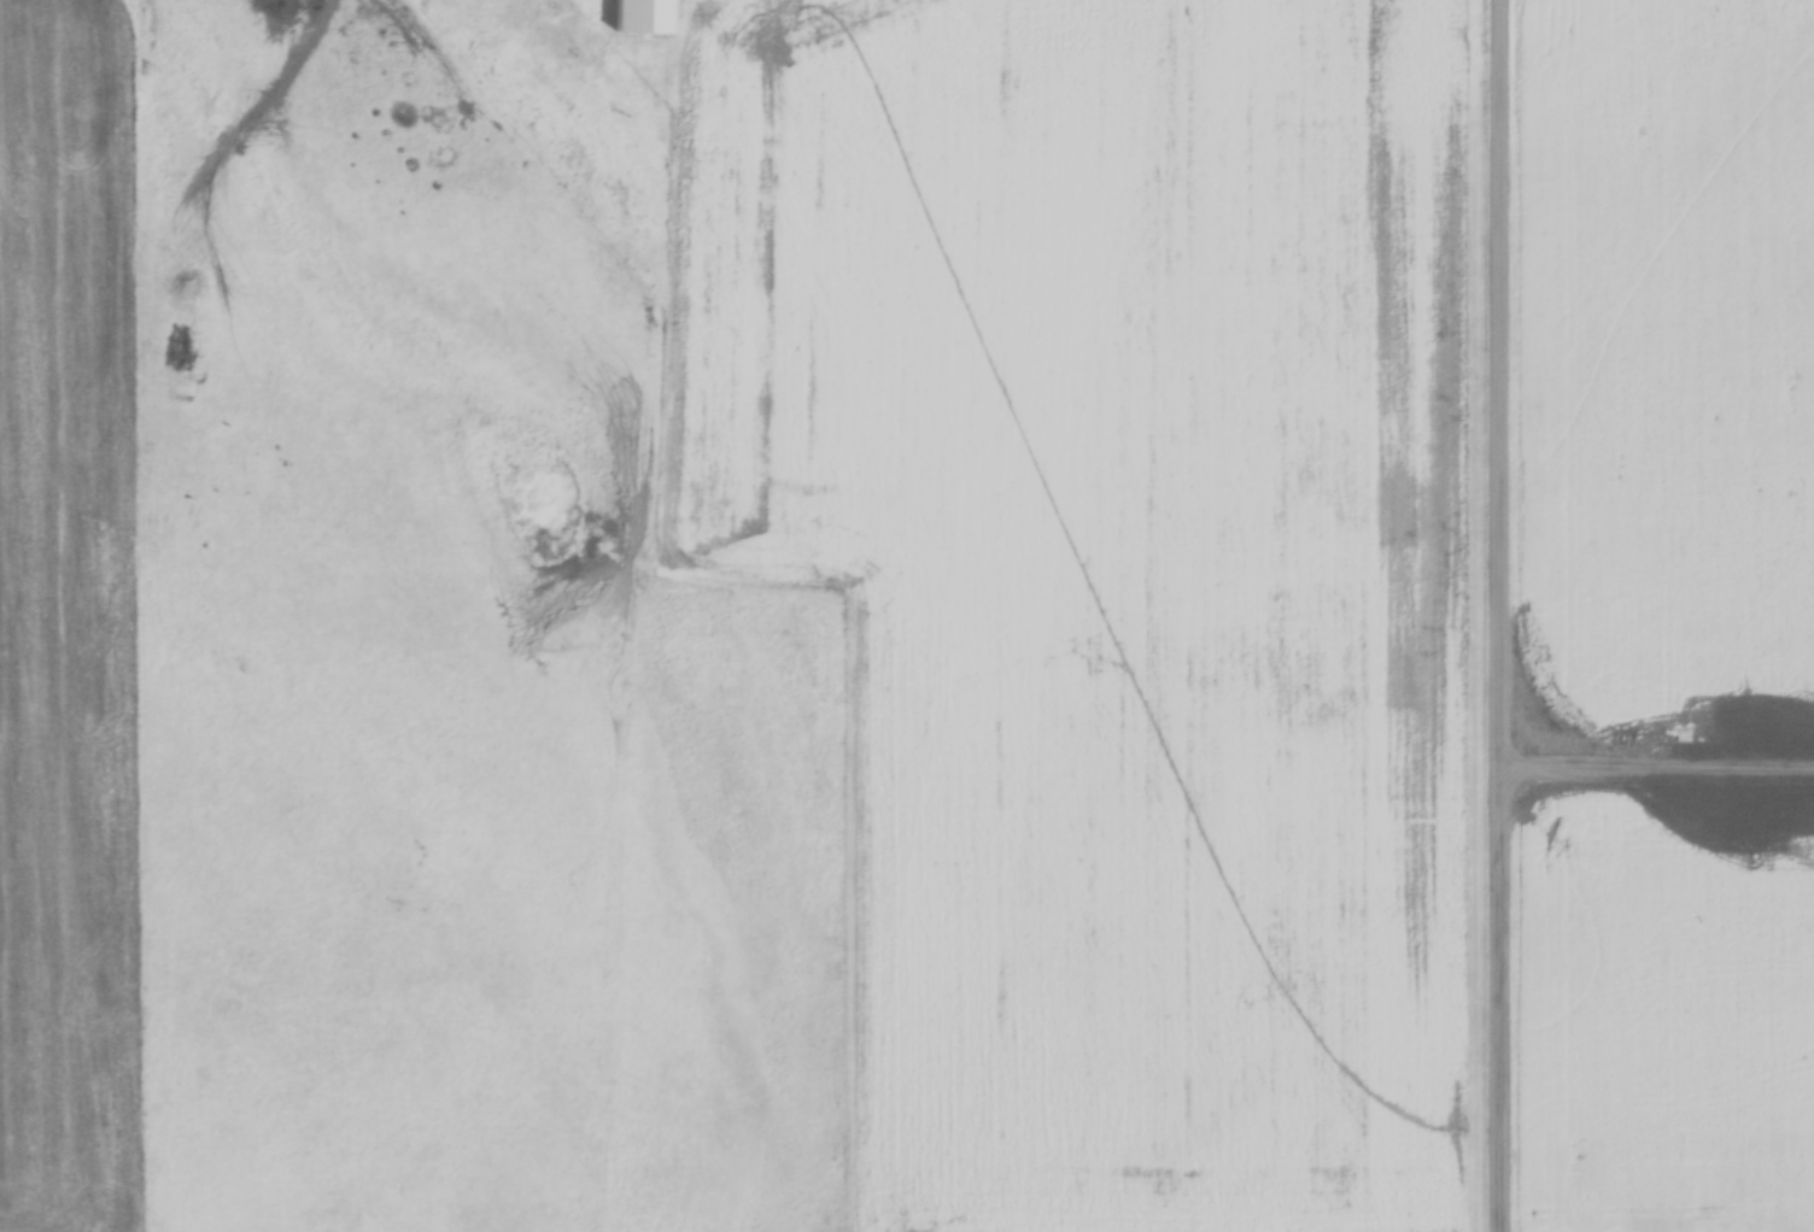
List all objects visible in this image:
building: (626, 19)
road: (1508, 616)

